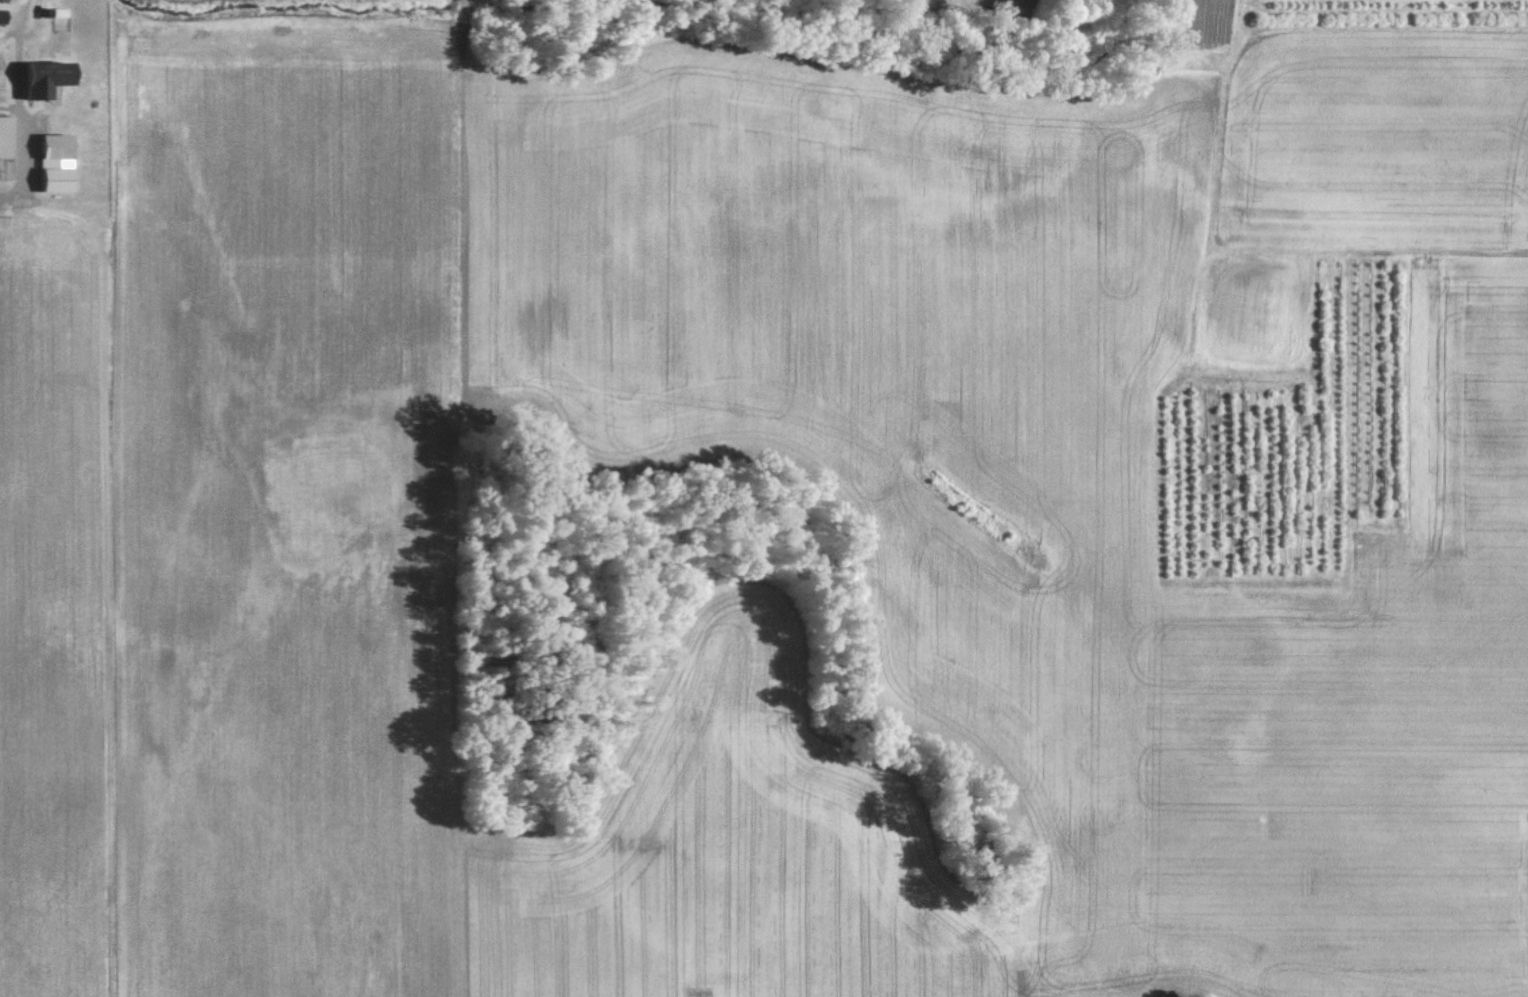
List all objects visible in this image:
road: (18, 9)
road: (7, 28)
road: (14, 71)
building: (37, 79)
building: (49, 146)
building: (2, 147)
road: (20, 158)
building: (49, 179)

